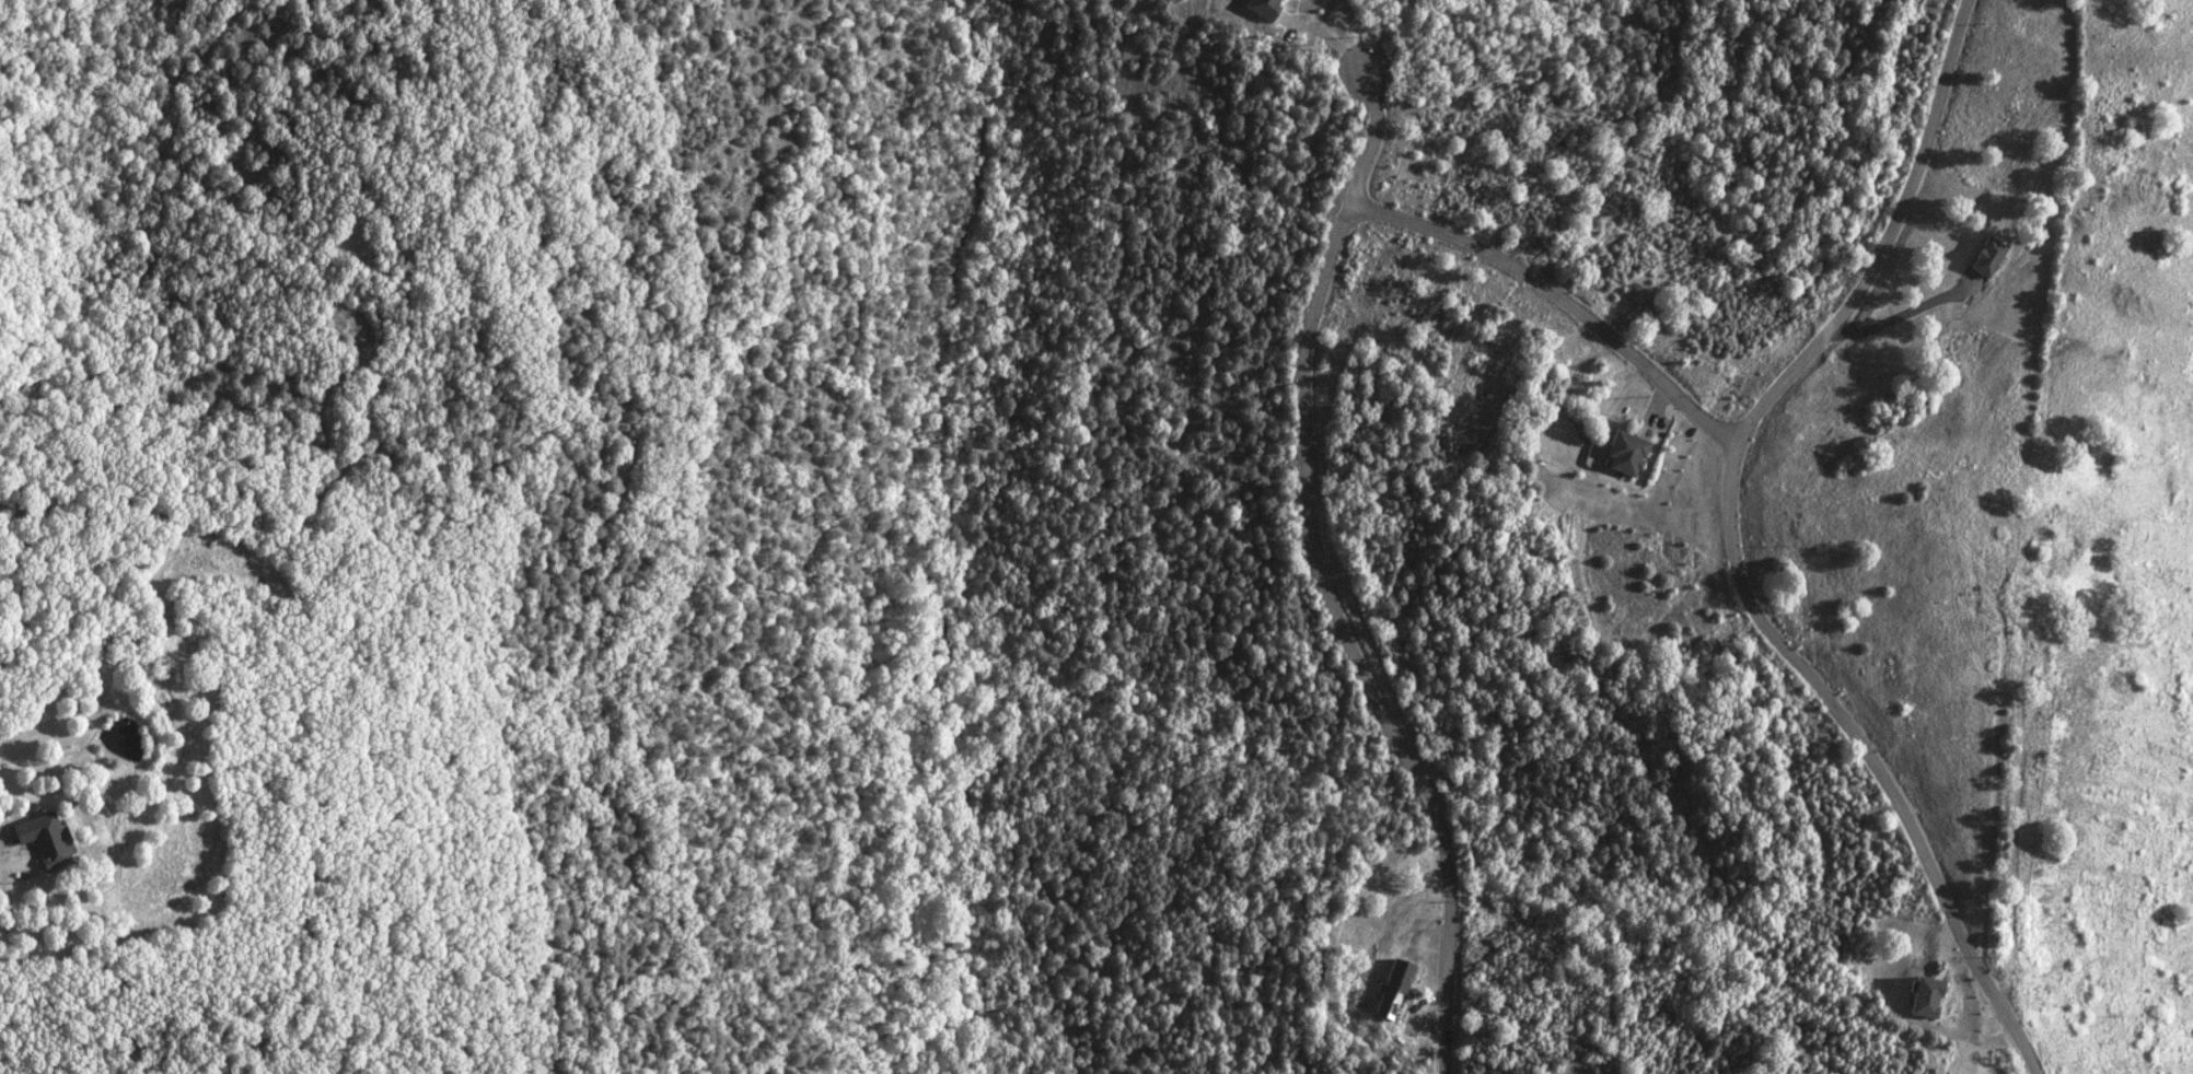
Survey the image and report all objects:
building: (1260, 8)
road: (1890, 234)
building: (1986, 257)
road: (1557, 297)
building: (1624, 454)
road: (1318, 576)
road: (1867, 745)
building: (38, 841)
building: (1391, 988)
building: (1923, 996)

